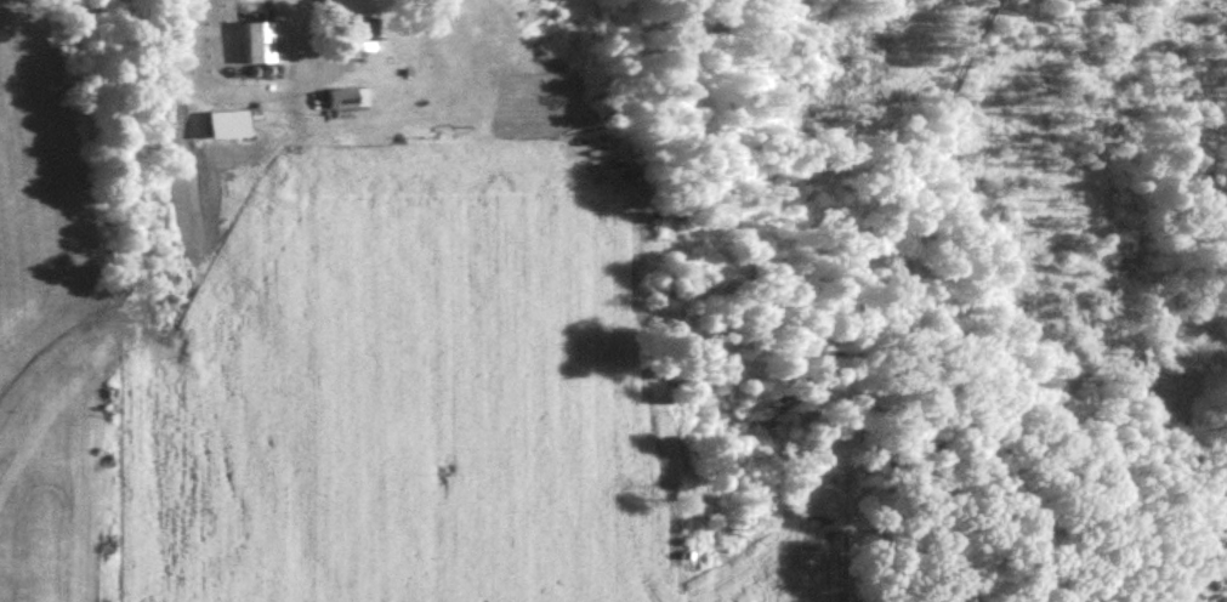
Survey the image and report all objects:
building: (357, 35)
building: (341, 98)
road: (927, 323)
building: (1225, 506)

